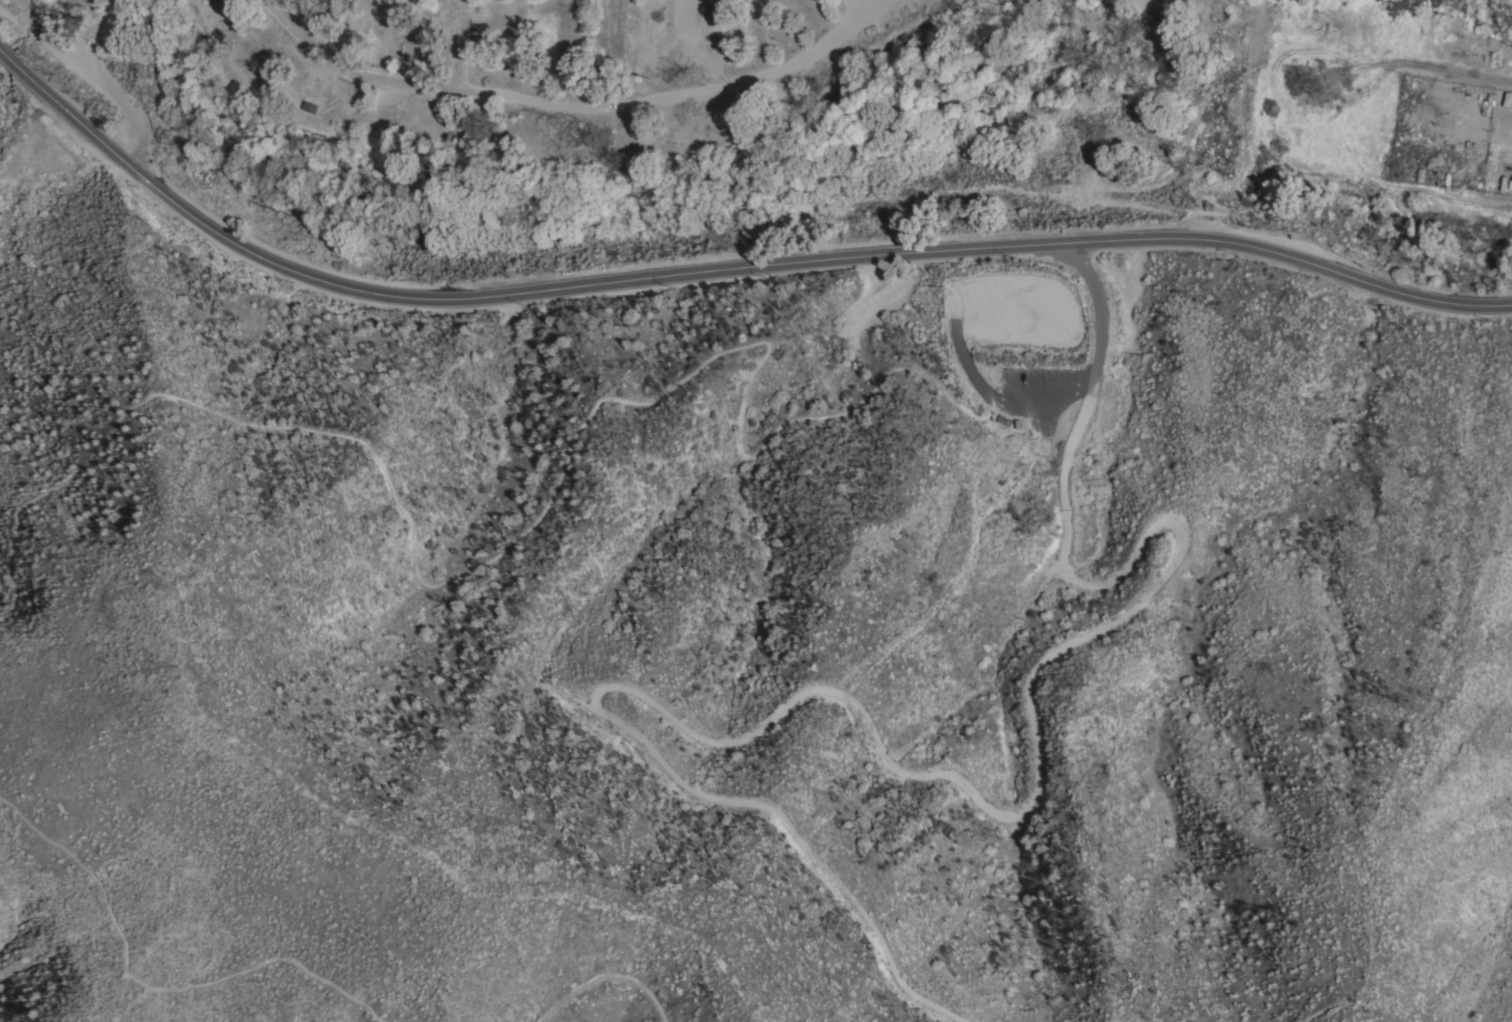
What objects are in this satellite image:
building: (737, 0)
road: (118, 4)
road: (866, 8)
road: (88, 30)
road: (460, 48)
road: (89, 76)
road: (574, 108)
road: (720, 270)
road: (753, 343)
parking lot: (1018, 348)
road: (948, 769)
road: (603, 974)
road: (154, 987)
road: (1333, 1002)

